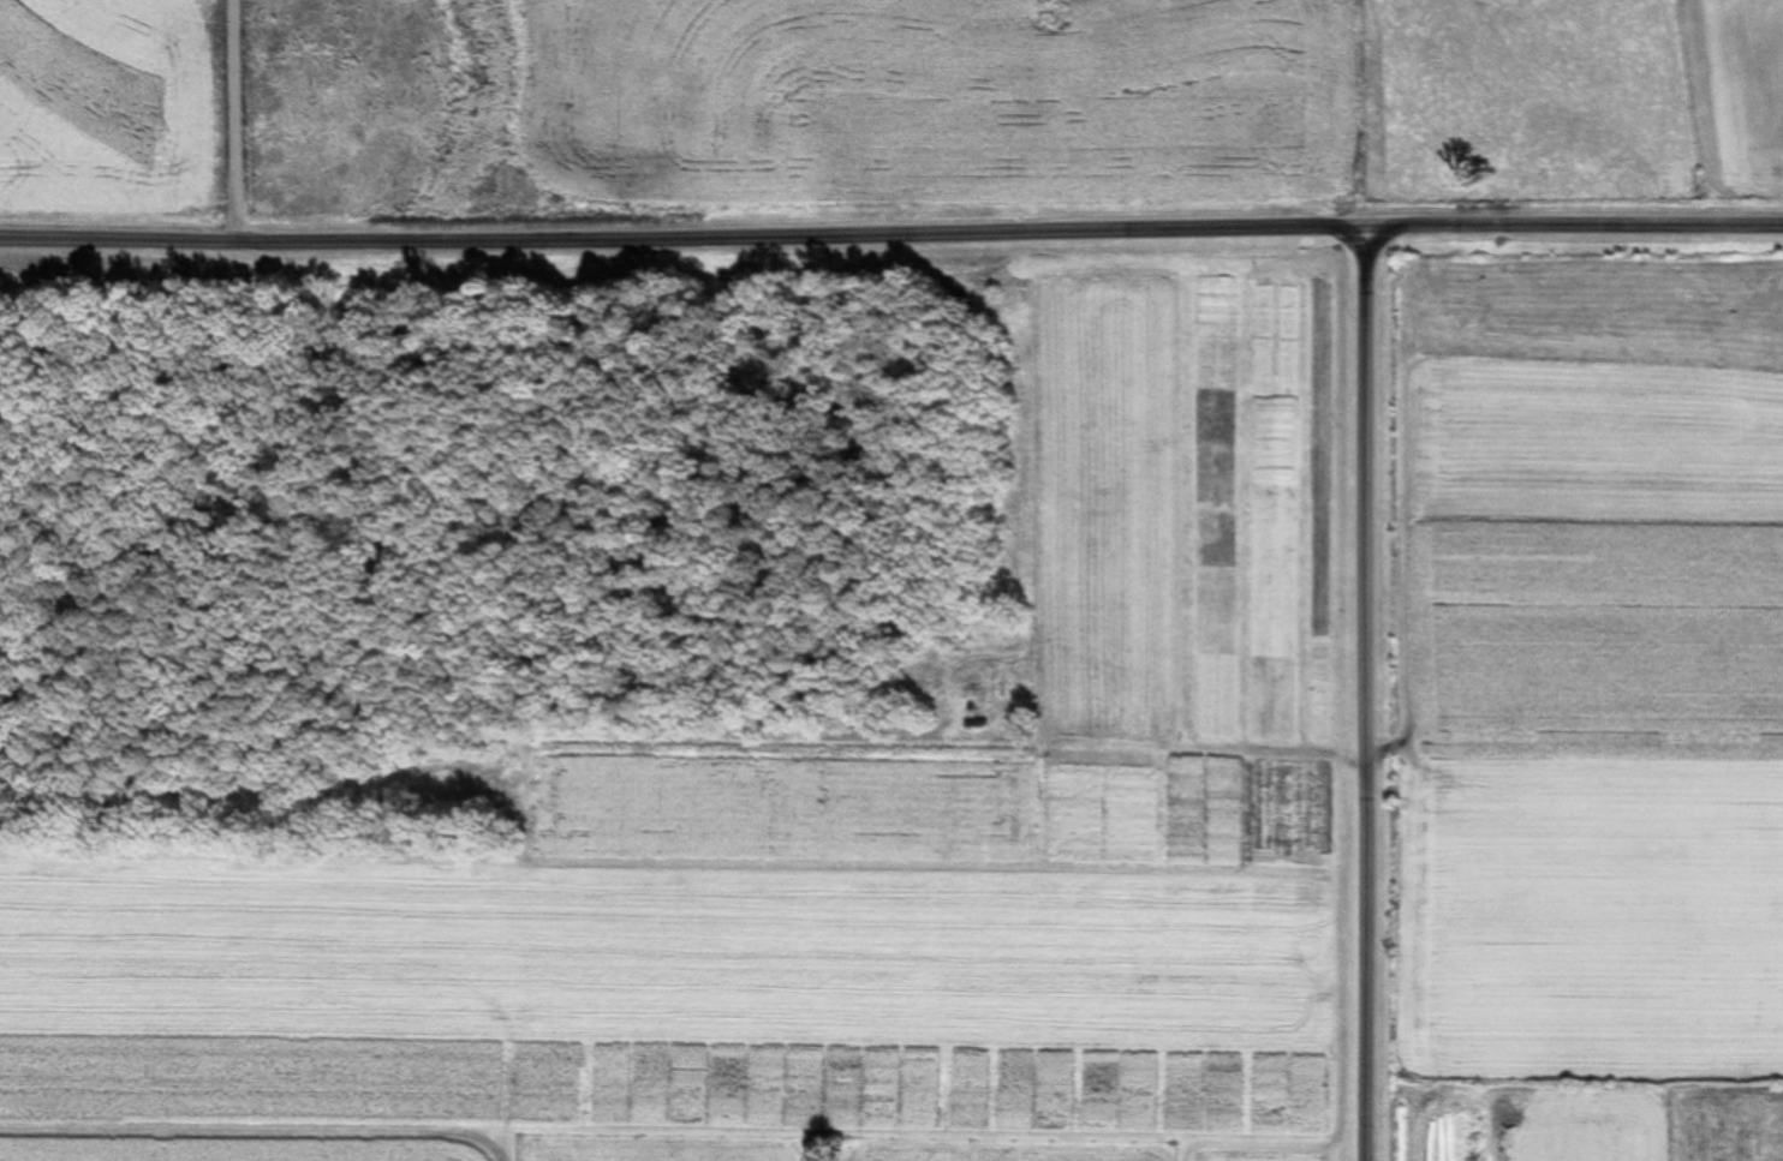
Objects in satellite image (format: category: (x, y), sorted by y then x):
road: (215, 108)
road: (890, 221)
road: (1374, 693)

